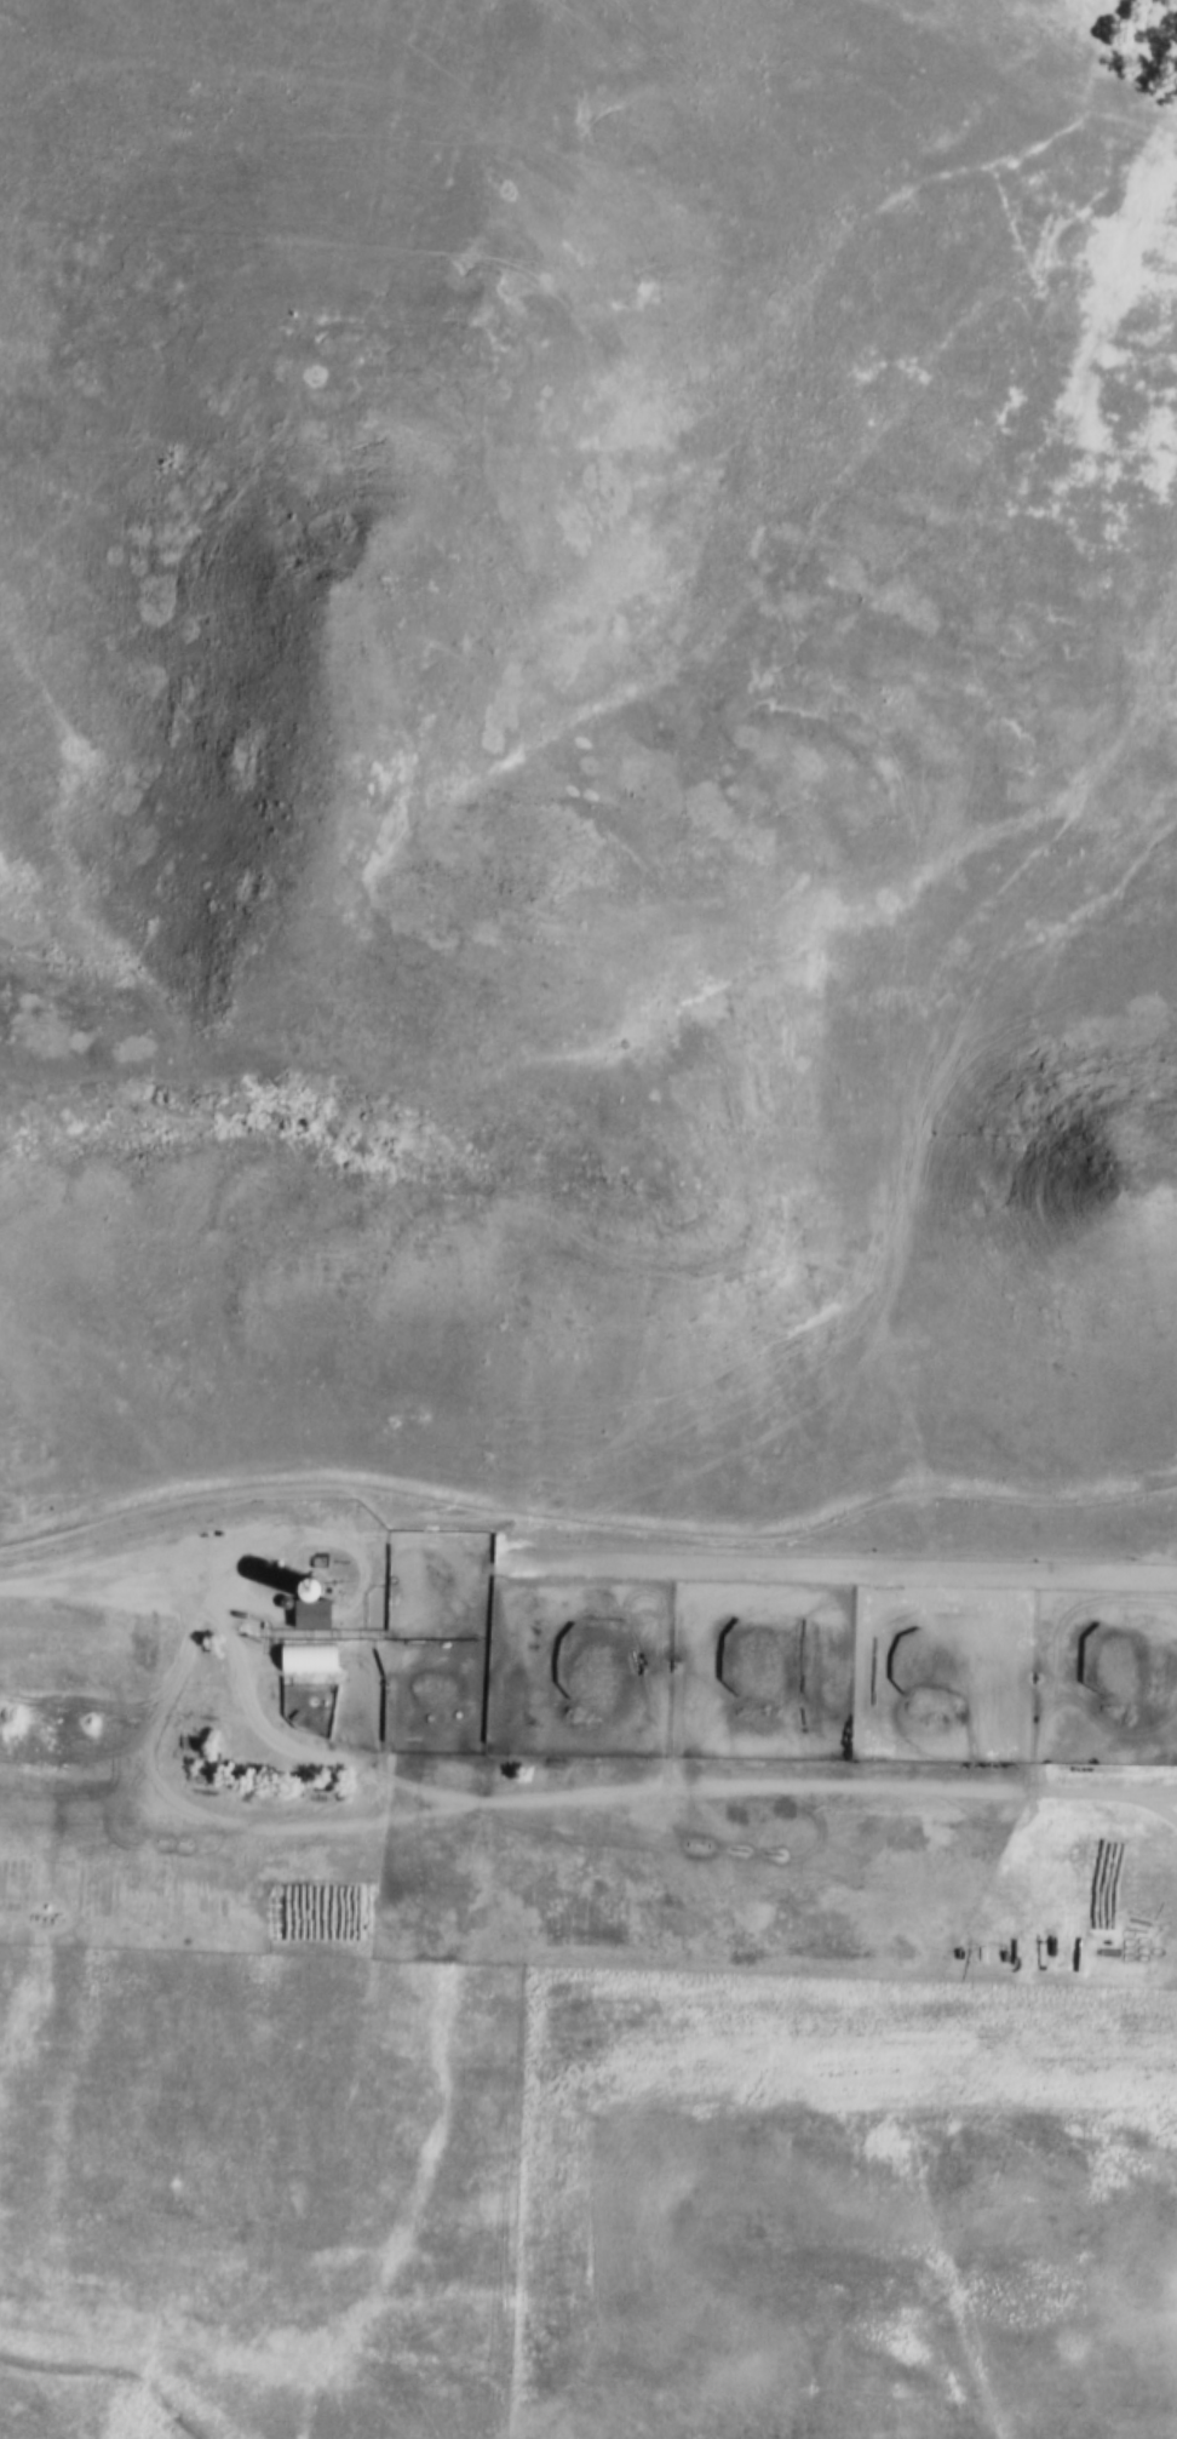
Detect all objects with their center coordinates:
road: (110, 1591)
building: (311, 1607)

